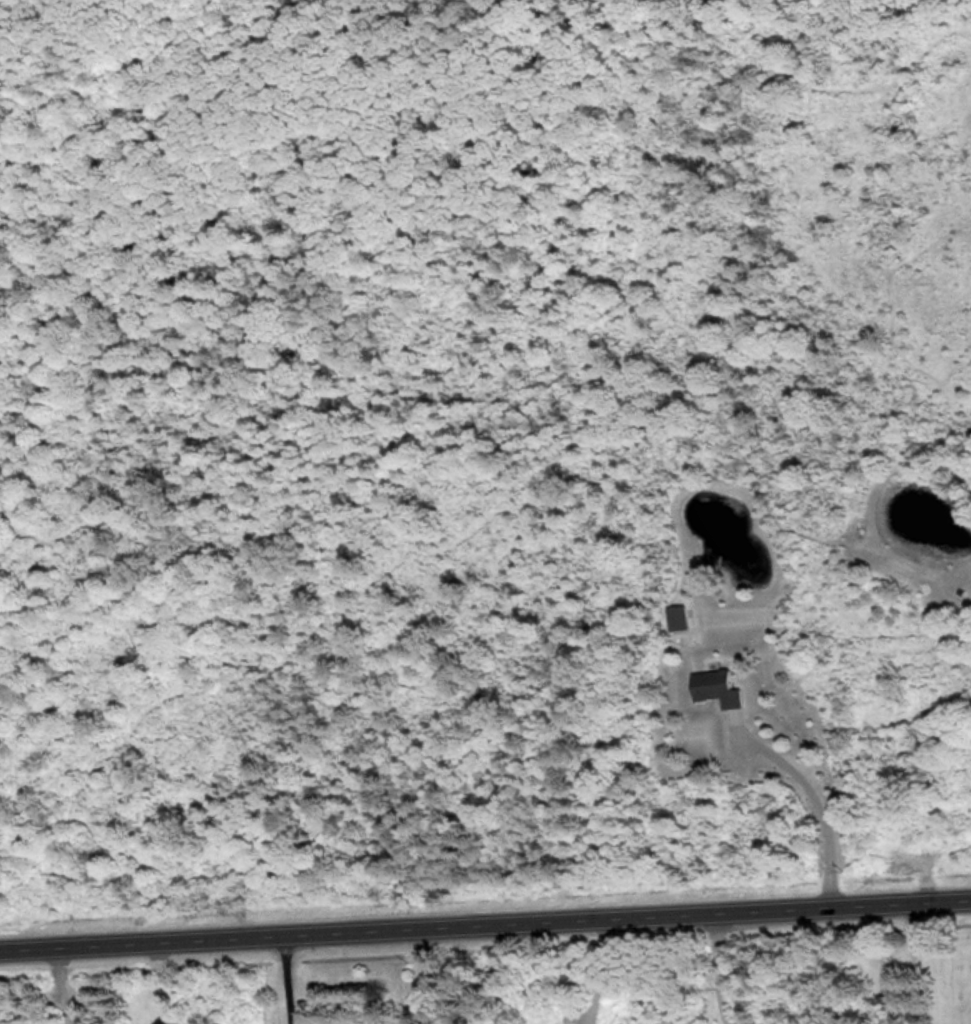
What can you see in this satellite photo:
building: (681, 619)
building: (720, 686)
road: (485, 922)
road: (422, 975)

